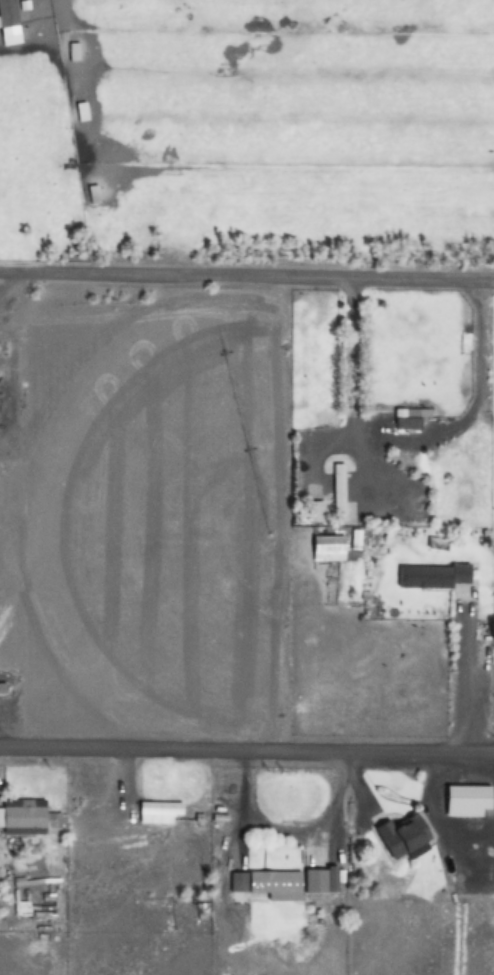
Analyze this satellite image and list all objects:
building: (7, 15)
road: (247, 277)
building: (404, 418)
building: (337, 485)
building: (314, 511)
building: (434, 576)
building: (2, 689)
road: (247, 744)
building: (466, 800)
building: (157, 811)
building: (23, 817)
building: (402, 835)
building: (33, 912)

